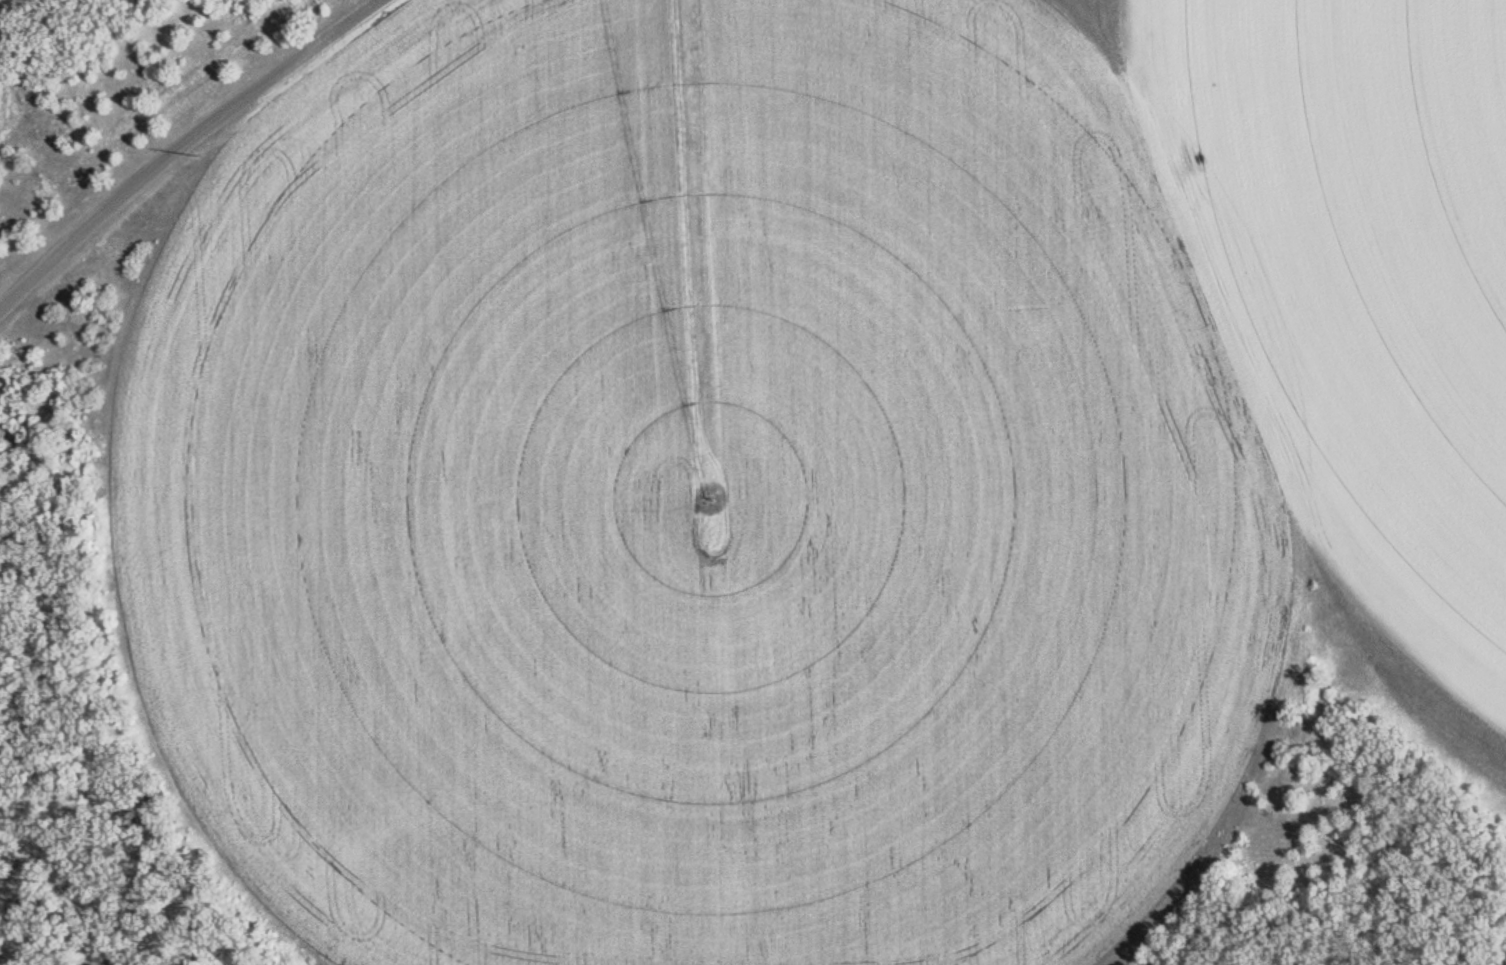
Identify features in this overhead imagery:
road: (181, 145)
wastewater plant: (753, 482)

